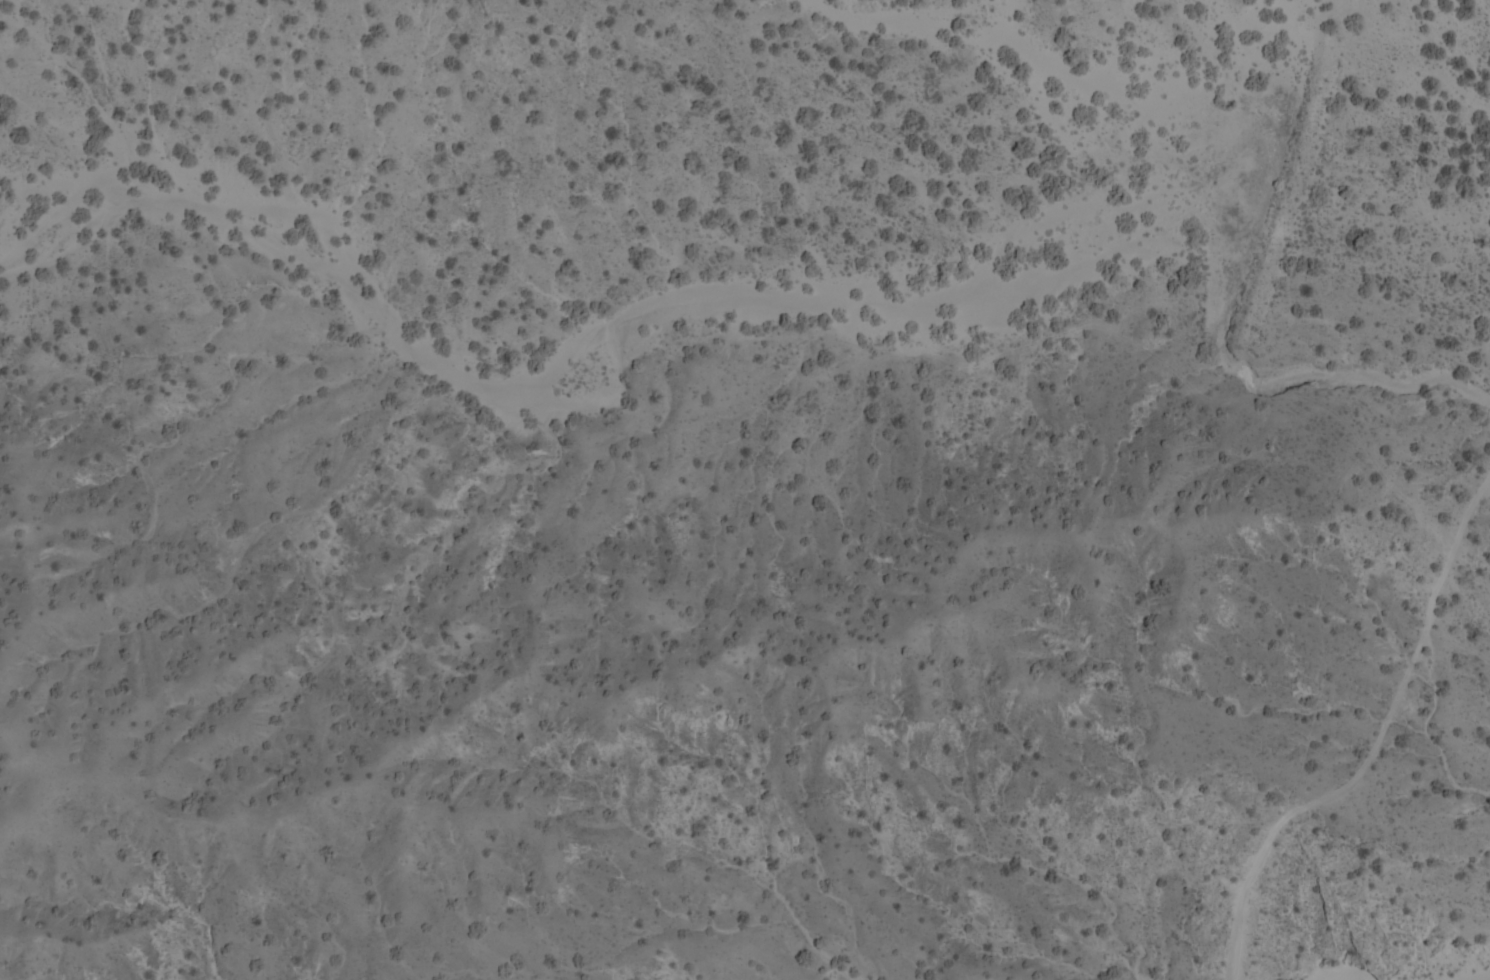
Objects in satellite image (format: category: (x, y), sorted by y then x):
road: (1376, 750)

